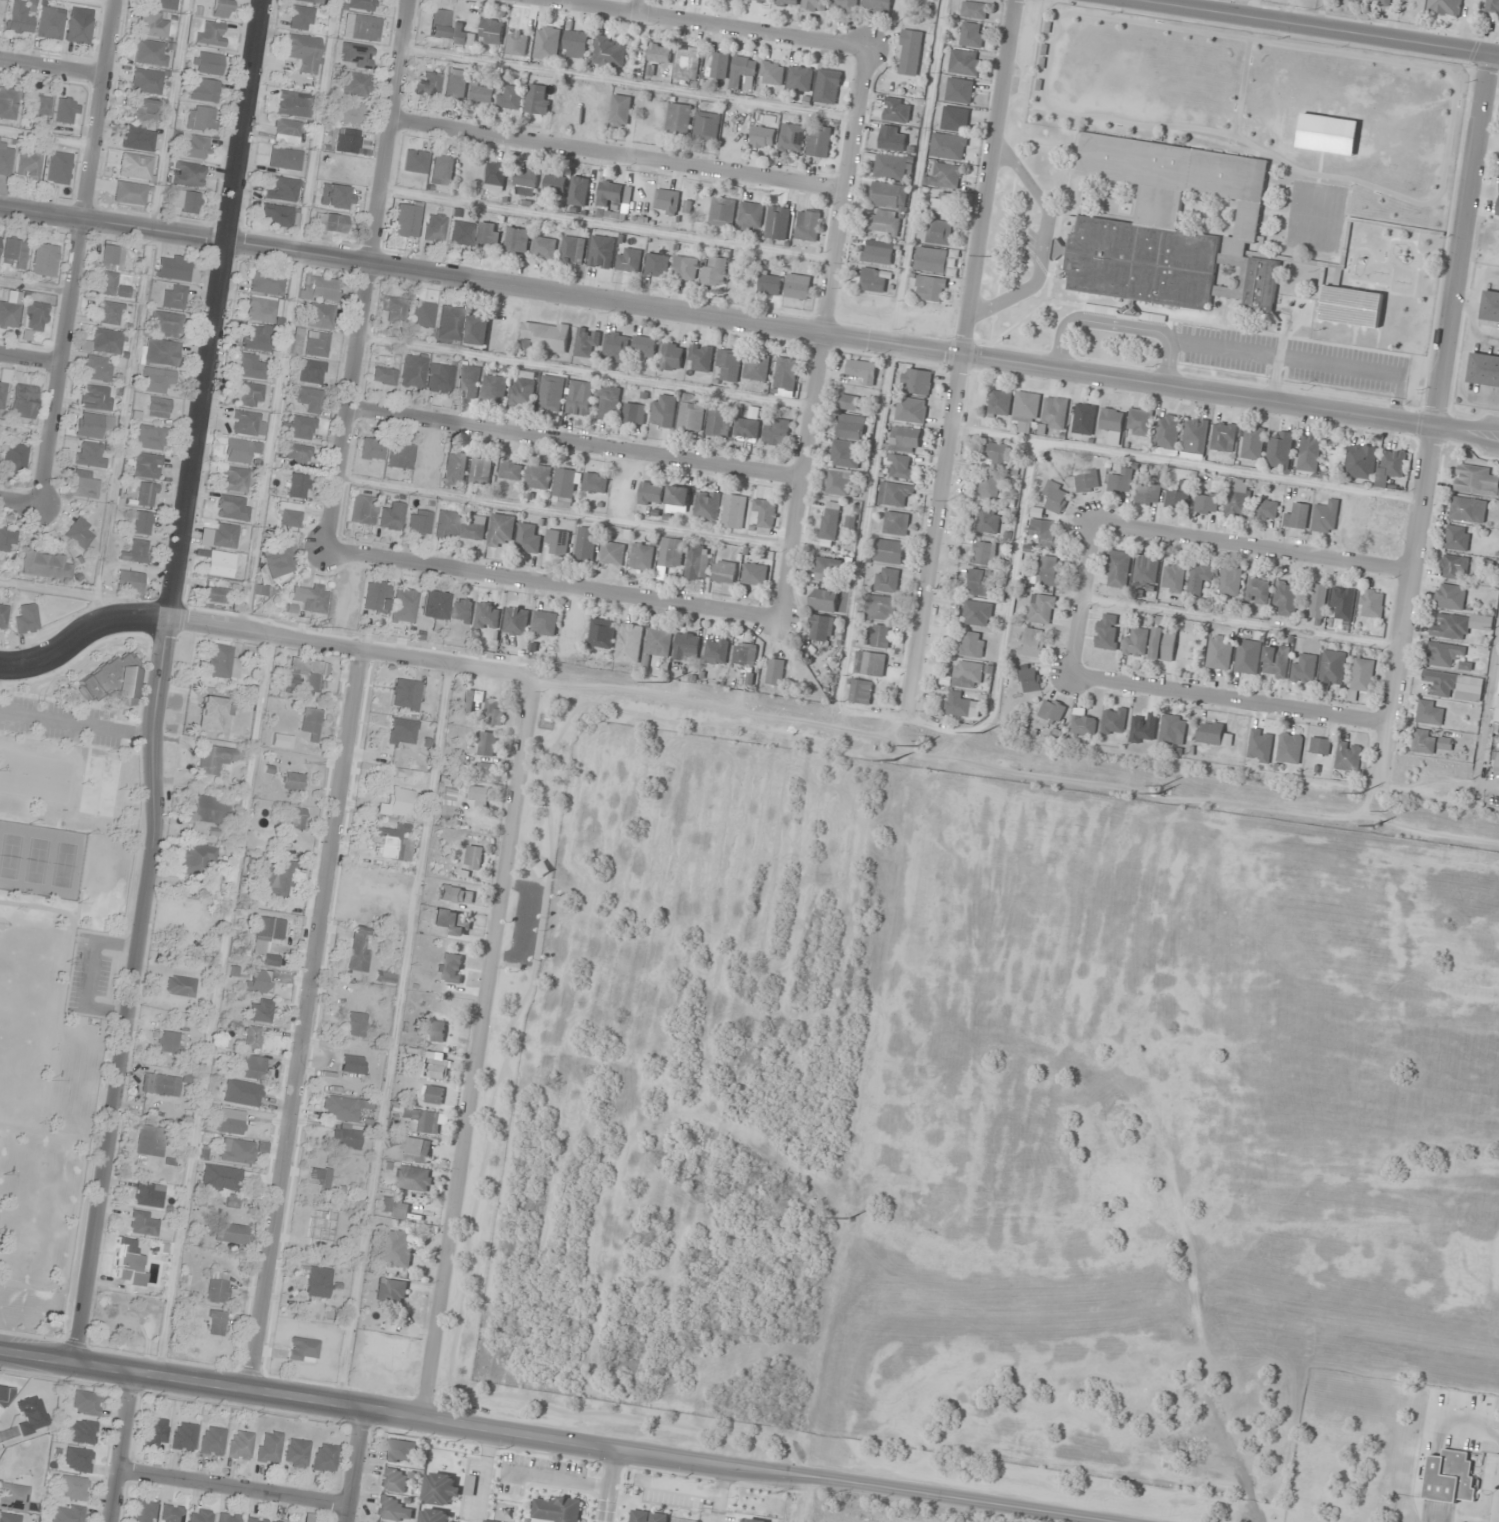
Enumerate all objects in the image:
building: (1354, 0)
building: (305, 1)
building: (782, 2)
building: (1382, 2)
building: (160, 4)
building: (360, 4)
building: (816, 4)
building: (878, 4)
building: (845, 5)
building: (1492, 6)
road: (640, 7)
building: (1445, 7)
building: (219, 8)
building: (974, 9)
building: (18, 17)
building: (299, 18)
building: (49, 22)
building: (438, 23)
road: (710, 24)
building: (152, 25)
building: (360, 27)
building: (77, 30)
road: (1315, 30)
building: (492, 31)
building: (460, 33)
building: (972, 34)
building: (210, 35)
building: (548, 37)
building: (517, 42)
building: (575, 43)
building: (302, 52)
building: (910, 52)
building: (149, 53)
building: (660, 53)
building: (356, 56)
building: (964, 62)
building: (206, 63)
building: (688, 63)
building: (720, 65)
road: (54, 72)
building: (772, 72)
building: (744, 73)
building: (800, 78)
building: (145, 81)
building: (354, 84)
building: (455, 84)
building: (427, 85)
building: (828, 86)
building: (202, 90)
building: (959, 90)
building: (483, 93)
building: (511, 97)
building: (538, 99)
building: (7, 103)
building: (292, 104)
building: (40, 106)
building: (897, 110)
building: (144, 111)
building: (621, 111)
building: (347, 113)
building: (199, 118)
building: (679, 118)
building: (955, 118)
building: (707, 126)
building: (285, 131)
building: (763, 136)
building: (136, 138)
building: (892, 138)
building: (791, 139)
building: (346, 141)
building: (819, 141)
building: (194, 146)
building: (948, 146)
road: (622, 158)
building: (4, 159)
building: (283, 159)
building: (27, 164)
building: (134, 166)
building: (892, 166)
building: (57, 168)
building: (441, 170)
building: (187, 174)
building: (496, 176)
building: (945, 176)
building: (526, 177)
building: (556, 184)
building: (280, 189)
building: (579, 191)
building: (128, 193)
building: (610, 193)
building: (889, 195)
building: (333, 196)
building: (183, 201)
building: (667, 201)
building: (944, 205)
building: (722, 211)
building: (275, 215)
building: (751, 216)
building: (405, 221)
building: (885, 221)
building: (778, 222)
building: (329, 223)
building: (809, 224)
building: (1174, 227)
building: (433, 228)
building: (939, 232)
building: (461, 233)
building: (489, 235)
building: (517, 239)
road: (1045, 244)
building: (545, 247)
building: (573, 249)
building: (602, 251)
building: (13, 254)
building: (877, 254)
road: (83, 255)
building: (108, 255)
building: (630, 259)
building: (44, 260)
building: (932, 260)
building: (658, 265)
building: (172, 268)
building: (685, 268)
building: (714, 271)
road: (370, 275)
building: (875, 280)
building: (265, 283)
building: (770, 283)
building: (110, 285)
building: (798, 286)
building: (322, 289)
building: (930, 289)
building: (172, 296)
building: (1351, 306)
building: (1490, 306)
building: (393, 309)
building: (261, 310)
building: (107, 313)
building: (1125, 313)
building: (420, 314)
building: (8, 315)
building: (34, 316)
building: (318, 316)
building: (165, 324)
road: (749, 324)
building: (447, 325)
road: (1117, 325)
building: (476, 328)
building: (255, 337)
building: (545, 337)
road: (830, 337)
building: (103, 342)
building: (587, 342)
building: (314, 344)
building: (645, 346)
building: (616, 347)
road: (964, 347)
building: (160, 353)
road: (1279, 355)
building: (672, 356)
building: (701, 358)
road: (1304, 359)
road: (31, 362)
building: (729, 365)
building: (249, 367)
building: (757, 367)
building: (96, 368)
building: (863, 370)
building: (1484, 370)
building: (411, 371)
building: (309, 372)
building: (382, 376)
building: (786, 376)
building: (438, 378)
building: (155, 380)
building: (468, 380)
building: (916, 381)
building: (495, 387)
building: (3, 388)
building: (524, 388)
building: (552, 393)
building: (249, 395)
building: (94, 397)
building: (580, 397)
building: (307, 401)
building: (23, 402)
building: (609, 402)
building: (850, 402)
building: (1000, 403)
building: (157, 407)
building: (664, 410)
building: (911, 410)
building: (1027, 410)
building: (634, 412)
building: (1055, 412)
building: (692, 416)
building: (1085, 419)
building: (720, 421)
building: (1140, 422)
building: (246, 423)
building: (1113, 424)
building: (748, 425)
building: (92, 426)
building: (300, 427)
building: (851, 427)
road: (1434, 429)
building: (777, 431)
building: (1168, 431)
building: (1195, 435)
building: (1224, 436)
building: (149, 438)
building: (905, 439)
building: (1253, 442)
road: (576, 447)
building: (1280, 448)
building: (371, 449)
building: (239, 450)
building: (1310, 450)
building: (297, 454)
building: (996, 454)
building: (88, 455)
building: (846, 455)
building: (399, 456)
building: (13, 457)
building: (1360, 461)
building: (1391, 465)
building: (145, 466)
building: (901, 466)
building: (454, 468)
building: (481, 469)
building: (511, 470)
building: (539, 476)
building: (235, 479)
building: (1476, 480)
building: (1087, 481)
building: (596, 482)
building: (839, 482)
building: (1120, 483)
building: (82, 485)
building: (296, 486)
building: (565, 487)
building: (990, 488)
building: (651, 493)
building: (895, 493)
building: (1148, 494)
building: (145, 495)
building: (1056, 495)
building: (1180, 495)
building: (678, 498)
building: (1206, 503)
building: (1238, 503)
building: (707, 505)
road: (23, 506)
building: (231, 507)
building: (1267, 509)
building: (1468, 509)
building: (361, 510)
building: (735, 511)
building: (766, 512)
building: (287, 515)
building: (1297, 516)
building: (390, 517)
building: (1325, 517)
building: (988, 520)
building: (417, 522)
building: (896, 522)
building: (141, 523)
building: (830, 523)
building: (446, 524)
building: (476, 528)
building: (502, 530)
building: (1044, 531)
building: (78, 533)
building: (223, 536)
building: (1457, 537)
building: (529, 538)
building: (6, 540)
building: (557, 542)
building: (586, 543)
road: (1257, 550)
building: (889, 551)
building: (134, 552)
building: (672, 552)
building: (614, 553)
building: (985, 553)
building: (642, 557)
building: (277, 562)
building: (698, 562)
building: (218, 564)
building: (44, 566)
building: (1454, 567)
building: (1118, 568)
building: (828, 569)
building: (1049, 570)
building: (725, 571)
building: (1145, 572)
building: (755, 574)
building: (1175, 576)
building: (1201, 576)
building: (887, 579)
building: (1231, 580)
building: (128, 581)
building: (981, 583)
road: (556, 589)
building: (1258, 589)
building: (213, 595)
building: (374, 596)
building: (1450, 596)
building: (309, 597)
building: (1286, 597)
building: (824, 599)
building: (1319, 600)
road: (1087, 601)
building: (1343, 603)
building: (1372, 603)
building: (432, 605)
building: (401, 606)
building: (881, 607)
building: (1042, 609)
building: (460, 610)
building: (977, 613)
building: (488, 615)
building: (3, 616)
building: (26, 619)
building: (517, 621)
building: (545, 623)
building: (1460, 625)
building: (822, 627)
building: (602, 633)
building: (881, 635)
road: (266, 638)
building: (659, 642)
building: (1032, 642)
building: (1136, 642)
building: (630, 643)
building: (973, 644)
building: (1163, 644)
building: (687, 645)
building: (717, 651)
building: (1219, 653)
building: (745, 654)
building: (1444, 654)
building: (1248, 656)
building: (1276, 661)
building: (219, 662)
building: (874, 662)
building: (1304, 667)
building: (1332, 667)
building: (306, 673)
building: (968, 674)
building: (1362, 676)
road: (161, 679)
building: (773, 680)
building: (1030, 680)
building: (109, 683)
building: (1455, 685)
building: (860, 691)
building: (405, 693)
road: (1232, 698)
building: (468, 700)
building: (961, 705)
building: (494, 711)
building: (1050, 712)
building: (1430, 712)
building: (1497, 712)
building: (212, 713)
building: (1114, 720)
building: (310, 722)
building: (1083, 723)
building: (1173, 731)
building: (401, 732)
building: (1214, 734)
building: (280, 741)
building: (1424, 741)
building: (488, 743)
building: (1445, 743)
building: (1320, 745)
building: (1290, 748)
building: (1348, 757)
building: (213, 760)
building: (1497, 766)
building: (291, 781)
building: (480, 796)
building: (399, 802)
building: (445, 803)
building: (208, 810)
building: (290, 818)
building: (390, 843)
building: (474, 857)
building: (194, 859)
building: (543, 868)
building: (274, 879)
building: (455, 894)
building: (448, 922)
building: (264, 934)
building: (357, 950)
building: (449, 967)
building: (383, 977)
building: (178, 986)
building: (258, 1010)
building: (355, 1017)
road: (306, 1018)
building: (436, 1031)
building: (250, 1038)
building: (167, 1042)
road: (484, 1047)
building: (351, 1064)
building: (430, 1064)
building: (250, 1067)
building: (158, 1086)
building: (231, 1090)
building: (433, 1094)
building: (342, 1108)
building: (421, 1120)
building: (228, 1122)
building: (344, 1138)
building: (148, 1142)
building: (415, 1149)
building: (235, 1151)
building: (320, 1178)
building: (412, 1178)
building: (229, 1179)
building: (147, 1195)
building: (394, 1208)
building: (141, 1223)
building: (229, 1233)
building: (398, 1248)
building: (127, 1263)
building: (316, 1282)
building: (216, 1287)
building: (392, 1292)
building: (125, 1322)
building: (215, 1323)
building: (301, 1350)
building: (85, 1403)
building: (80, 1432)
building: (154, 1433)
road: (550, 1433)
building: (183, 1437)
building: (211, 1441)
road: (119, 1444)
building: (239, 1445)
building: (267, 1447)
building: (399, 1451)
building: (295, 1453)
building: (323, 1458)
building: (76, 1460)
road: (353, 1462)
road: (484, 1473)
building: (1451, 1477)
building: (395, 1479)
road: (561, 1480)
road: (607, 1483)
building: (470, 1485)
road: (231, 1486)
building: (72, 1488)
building: (441, 1489)
road: (684, 1489)
road: (720, 1492)
building: (13, 1497)
building: (392, 1509)
building: (558, 1509)
building: (141, 1512)
building: (66, 1513)
building: (170, 1513)
building: (434, 1514)
building: (198, 1515)
building: (648, 1516)
building: (11, 1518)
building: (227, 1518)
building: (254, 1520)
building: (754, 1520)
building: (273, 1521)
building: (490, 1521)

